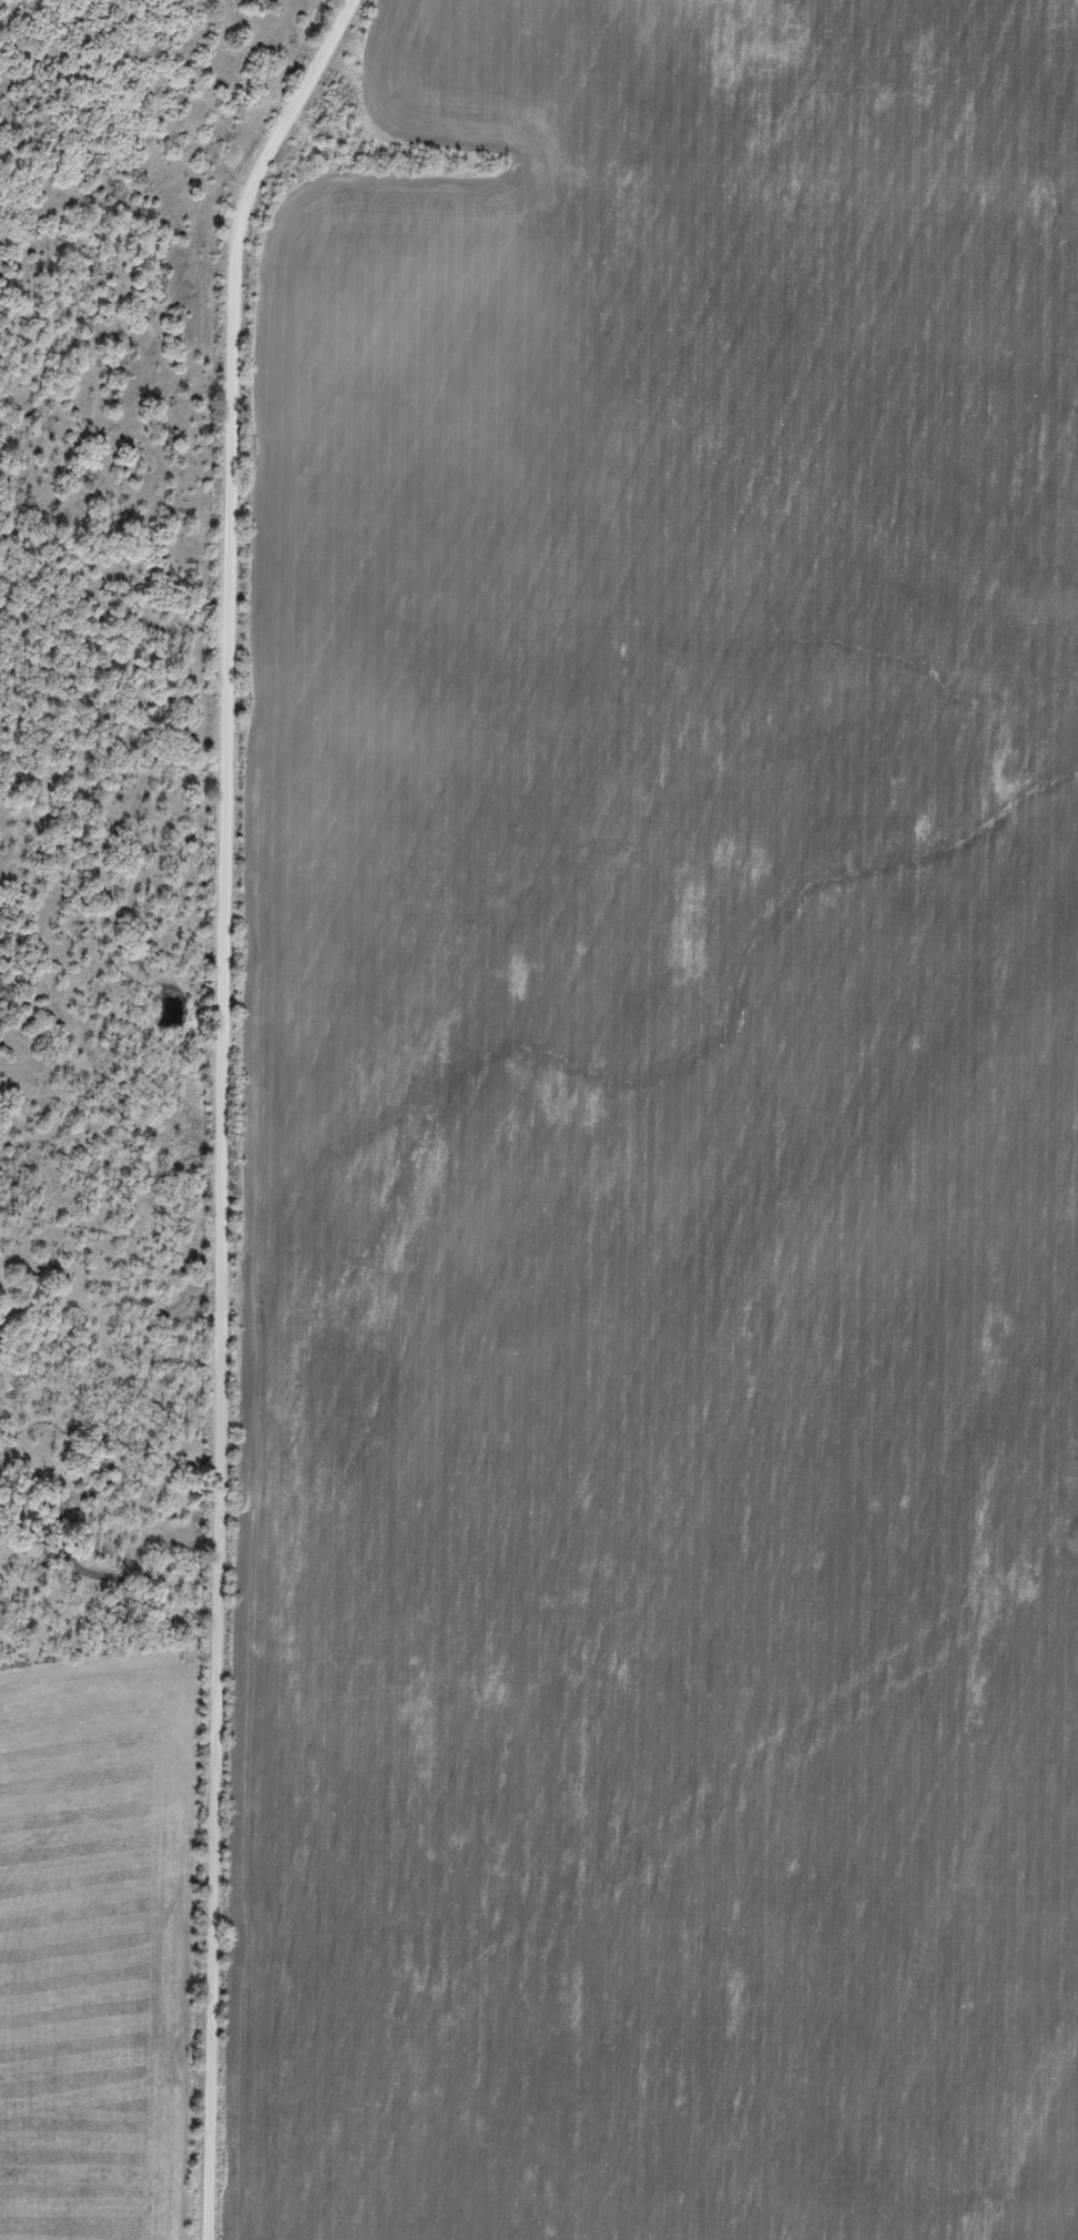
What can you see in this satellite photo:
road: (224, 1107)

